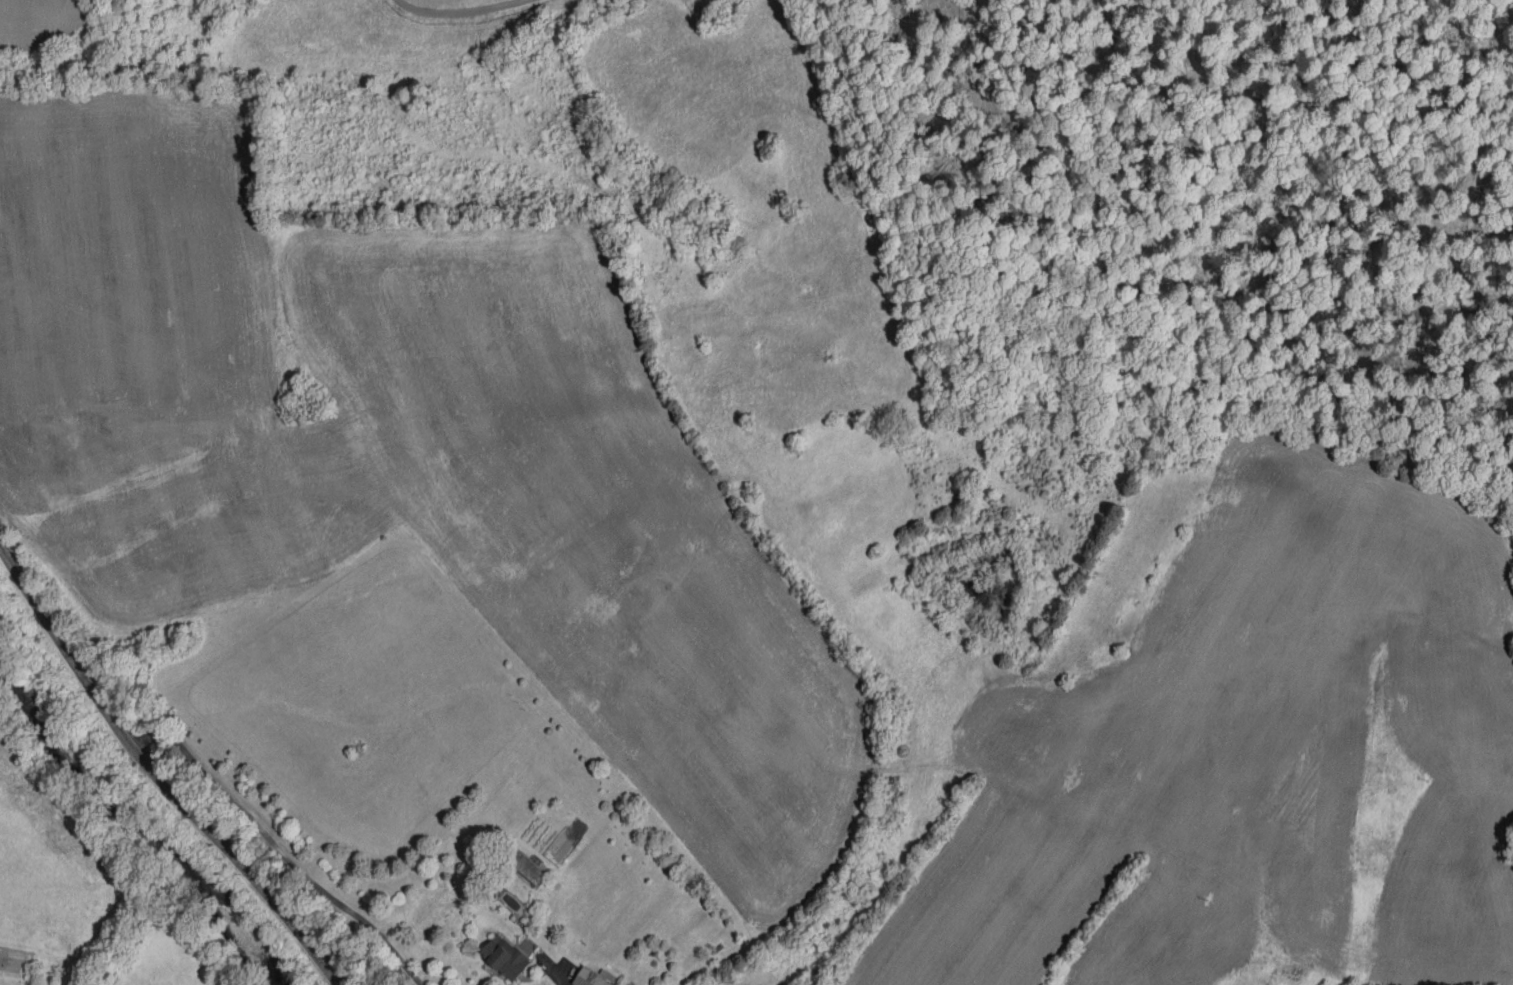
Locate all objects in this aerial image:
road: (157, 777)
road: (278, 847)
building: (506, 957)
road: (556, 975)
building: (591, 978)

